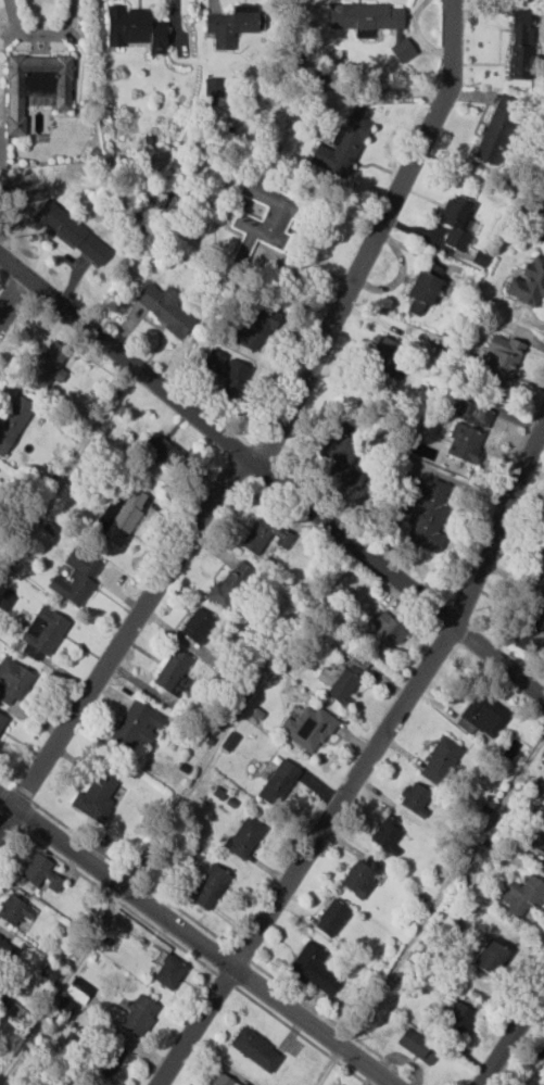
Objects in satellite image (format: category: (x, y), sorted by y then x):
building: (372, 24)
building: (231, 26)
building: (135, 29)
building: (520, 45)
building: (36, 86)
building: (494, 136)
building: (341, 149)
building: (541, 210)
building: (263, 220)
building: (456, 222)
building: (73, 234)
building: (529, 282)
building: (425, 286)
road: (12, 295)
building: (164, 306)
building: (416, 306)
building: (255, 328)
building: (382, 356)
building: (502, 358)
building: (47, 366)
building: (227, 373)
building: (12, 420)
road: (268, 434)
road: (225, 440)
building: (465, 441)
building: (157, 446)
building: (427, 515)
building: (119, 516)
building: (266, 533)
building: (539, 563)
building: (76, 577)
building: (230, 585)
building: (5, 600)
building: (198, 624)
building: (531, 629)
building: (388, 630)
building: (42, 632)
road: (498, 660)
building: (173, 671)
building: (327, 674)
building: (13, 680)
building: (343, 685)
building: (483, 715)
building: (2, 721)
building: (137, 726)
building: (308, 728)
road: (364, 760)
building: (440, 760)
building: (278, 782)
building: (96, 796)
building: (415, 797)
building: (387, 835)
building: (245, 837)
building: (541, 843)
building: (543, 863)
building: (40, 872)
building: (362, 875)
road: (115, 881)
building: (211, 885)
building: (522, 895)
building: (14, 910)
building: (331, 917)
building: (7, 949)
building: (490, 956)
building: (313, 969)
building: (50, 971)
building: (169, 971)
building: (78, 989)
building: (64, 1008)
building: (15, 1011)
building: (138, 1015)
building: (456, 1017)
road: (313, 1025)
road: (513, 1035)
building: (417, 1046)
building: (255, 1049)
building: (109, 1060)
building: (222, 1080)

